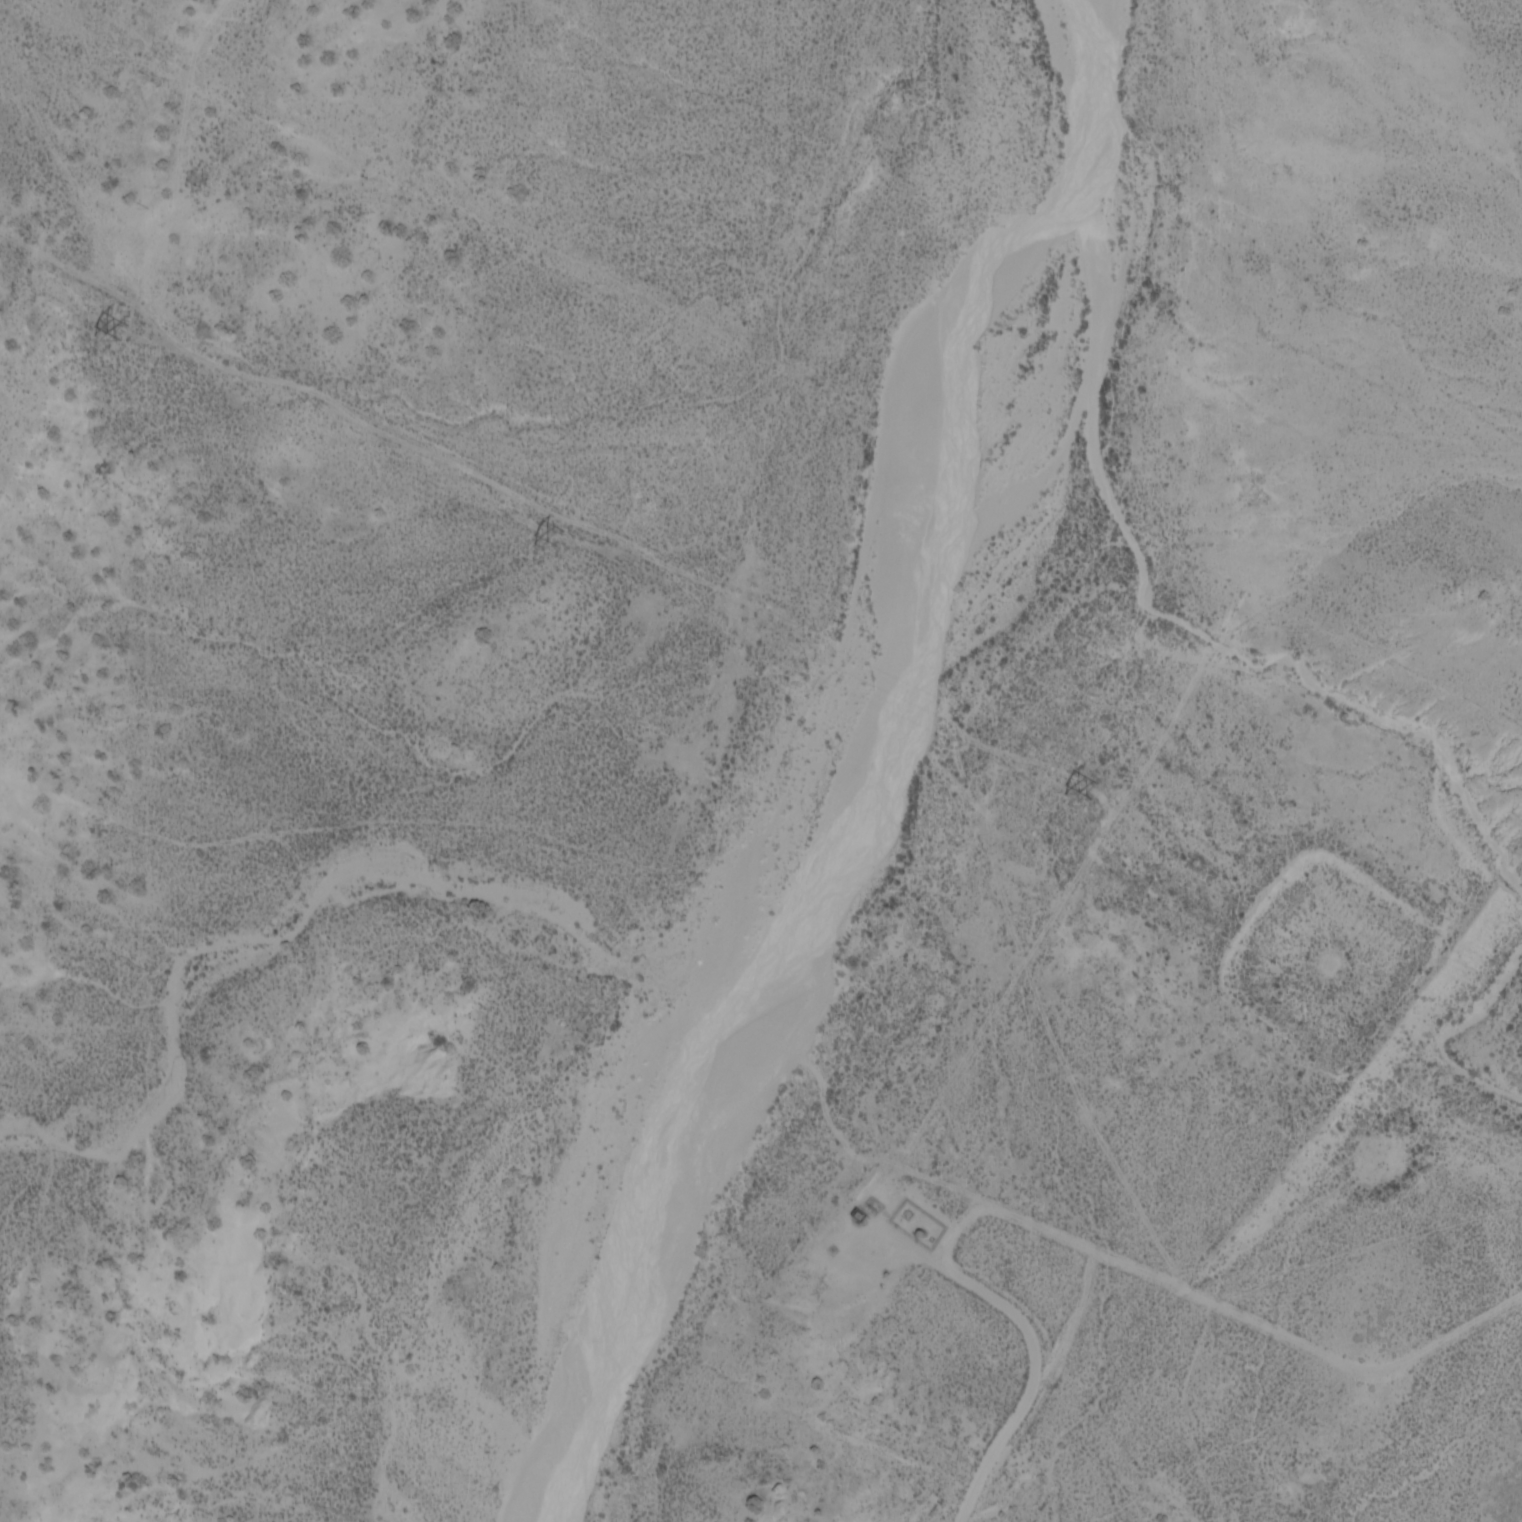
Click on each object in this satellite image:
power tower: (122, 334)
power tower: (556, 540)
river: (832, 765)
power tower: (1091, 795)

